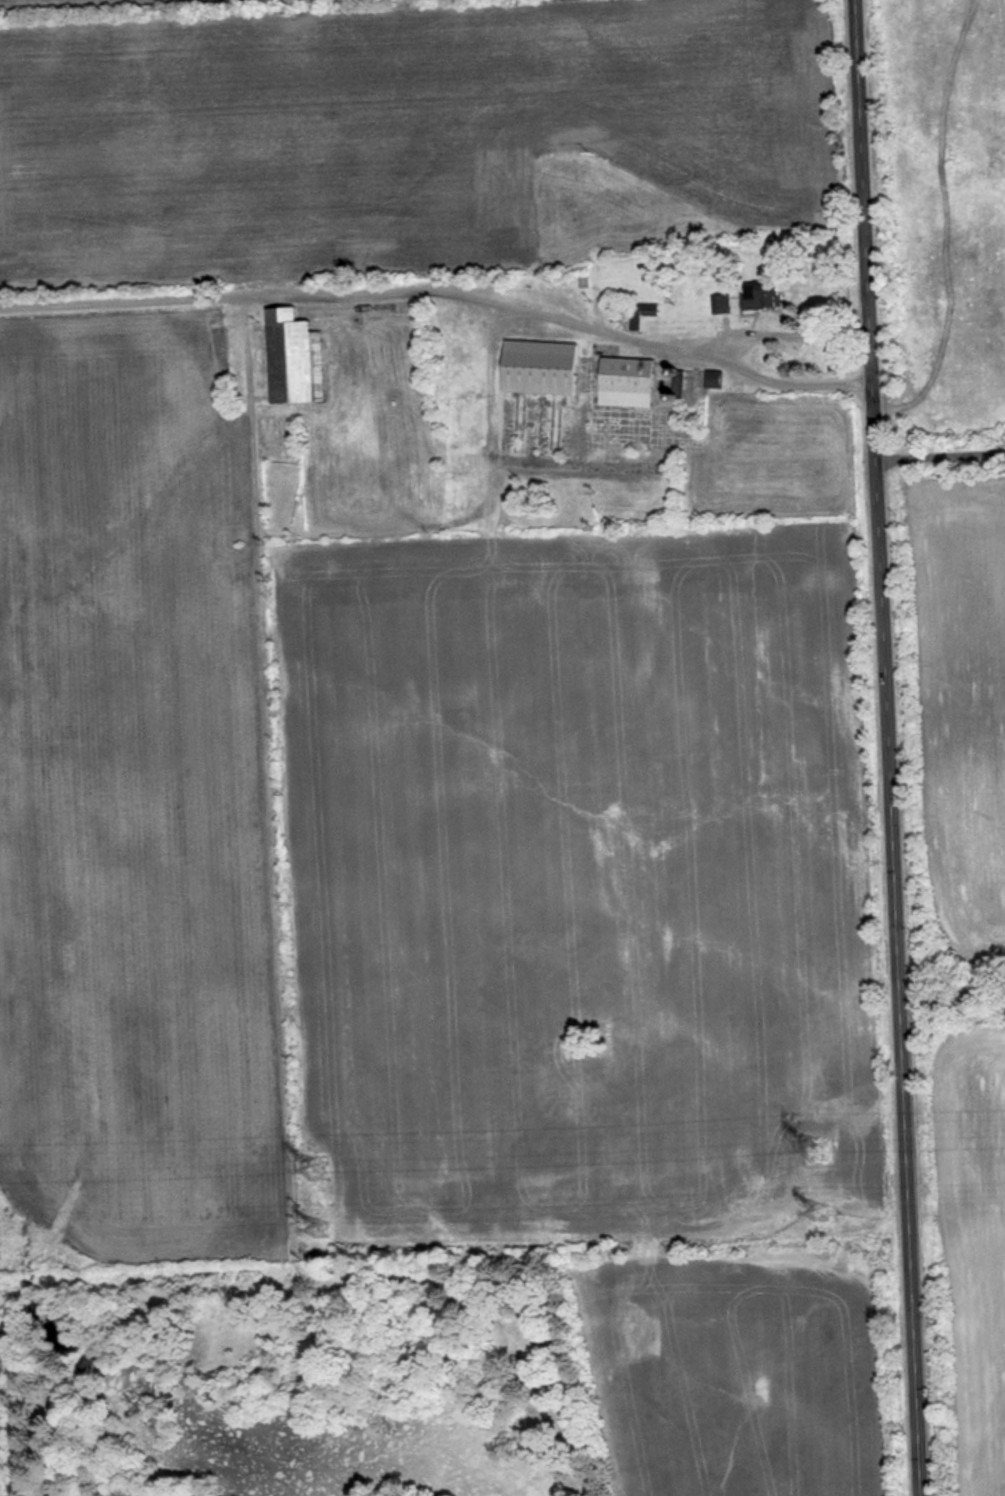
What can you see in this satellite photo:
building: (760, 294)
building: (721, 302)
building: (641, 312)
road: (576, 324)
road: (797, 334)
building: (293, 357)
building: (538, 367)
building: (625, 381)
road: (942, 456)
road: (891, 747)
road: (953, 996)
power tower: (819, 1148)
power tower: (319, 1169)
power tower: (820, 1211)
power tower: (321, 1228)

